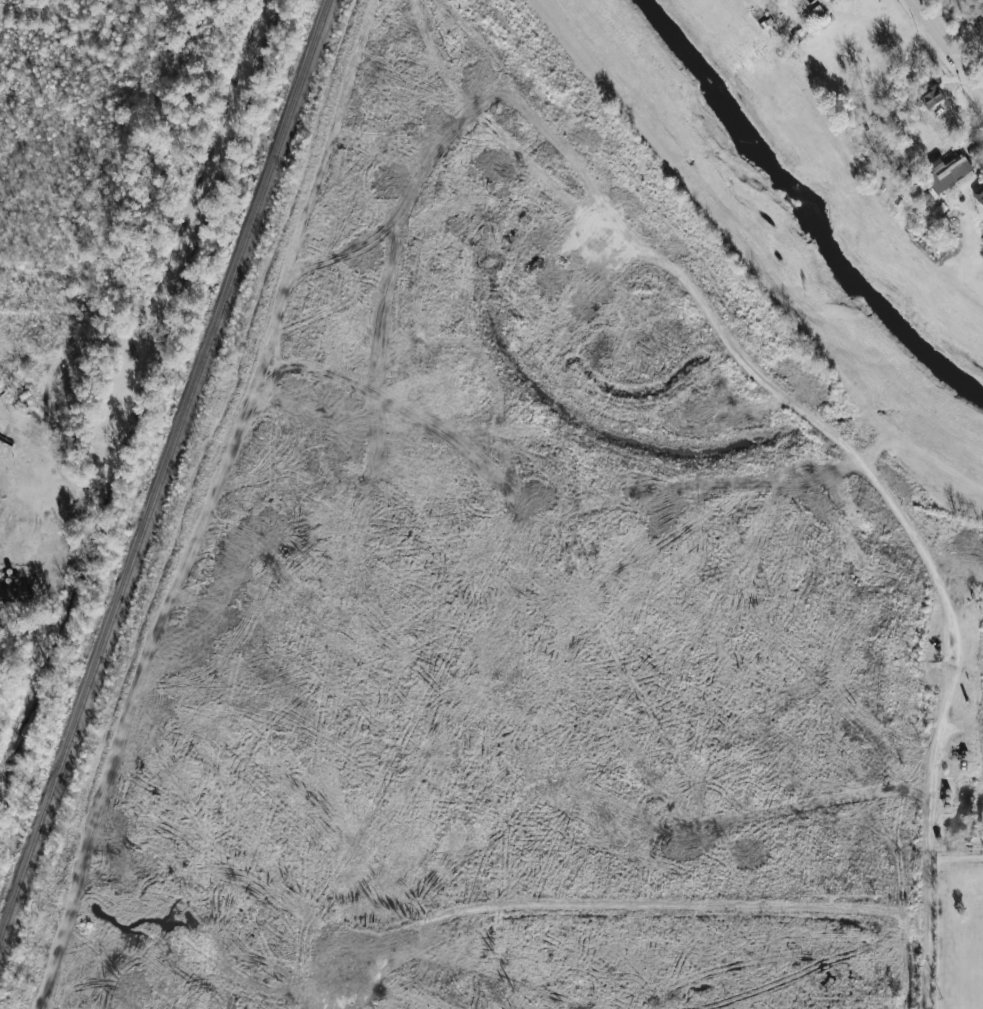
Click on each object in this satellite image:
building: (831, 0)
road: (947, 47)
building: (932, 96)
building: (949, 173)
building: (979, 195)
river: (801, 216)
railway: (165, 470)
road: (935, 471)
road: (934, 566)
road: (639, 899)
park: (959, 932)
park: (975, 983)

